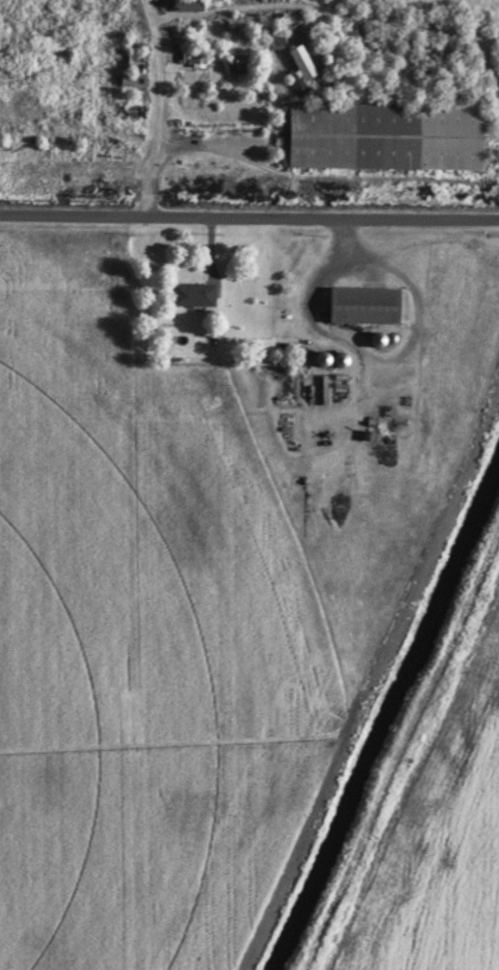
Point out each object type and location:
building: (191, 8)
building: (195, 59)
building: (237, 63)
building: (305, 63)
building: (132, 81)
building: (134, 112)
building: (385, 137)
road: (249, 217)
building: (196, 296)
building: (366, 307)

